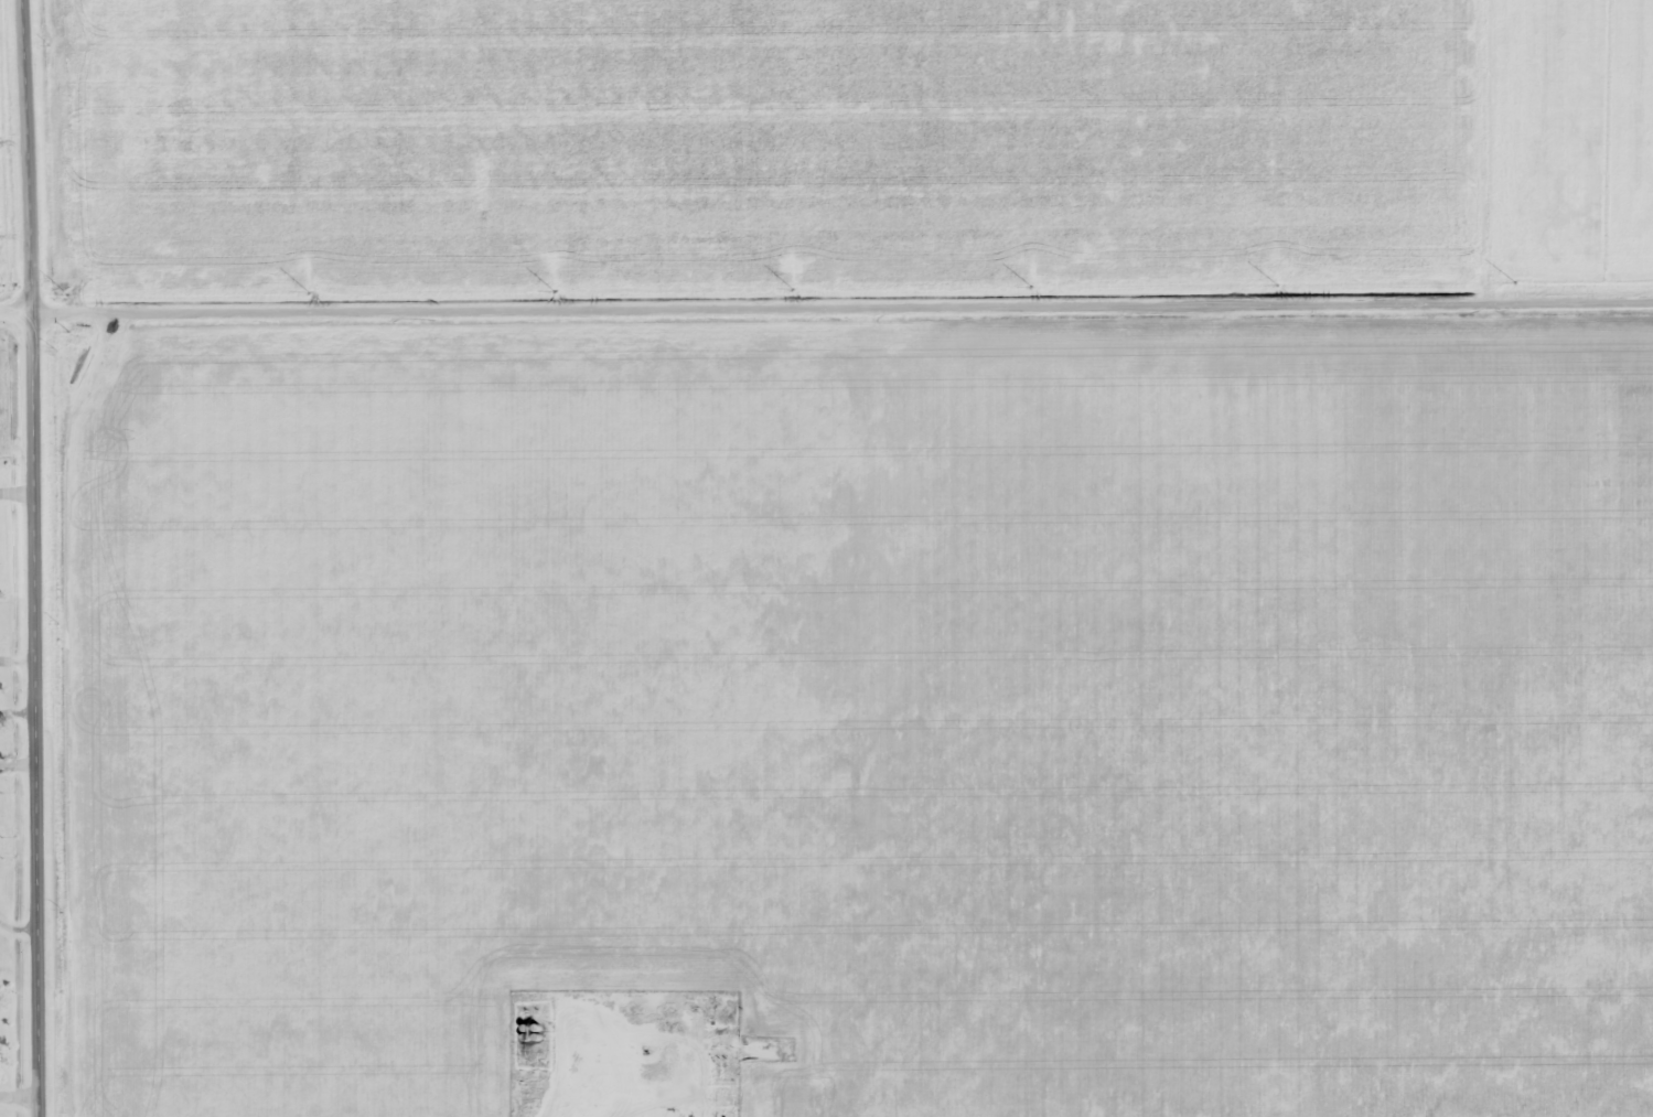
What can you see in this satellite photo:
road: (826, 308)
road: (35, 558)

